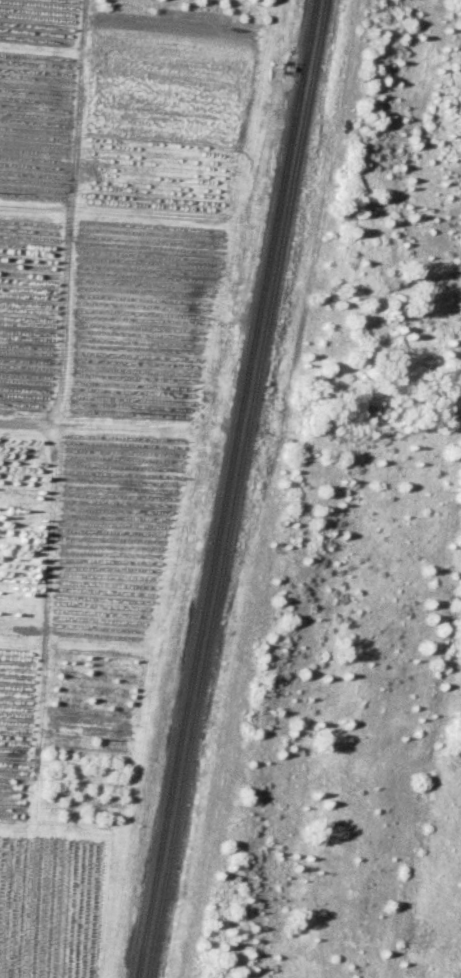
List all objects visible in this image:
railway: (224, 489)
railway: (235, 489)

